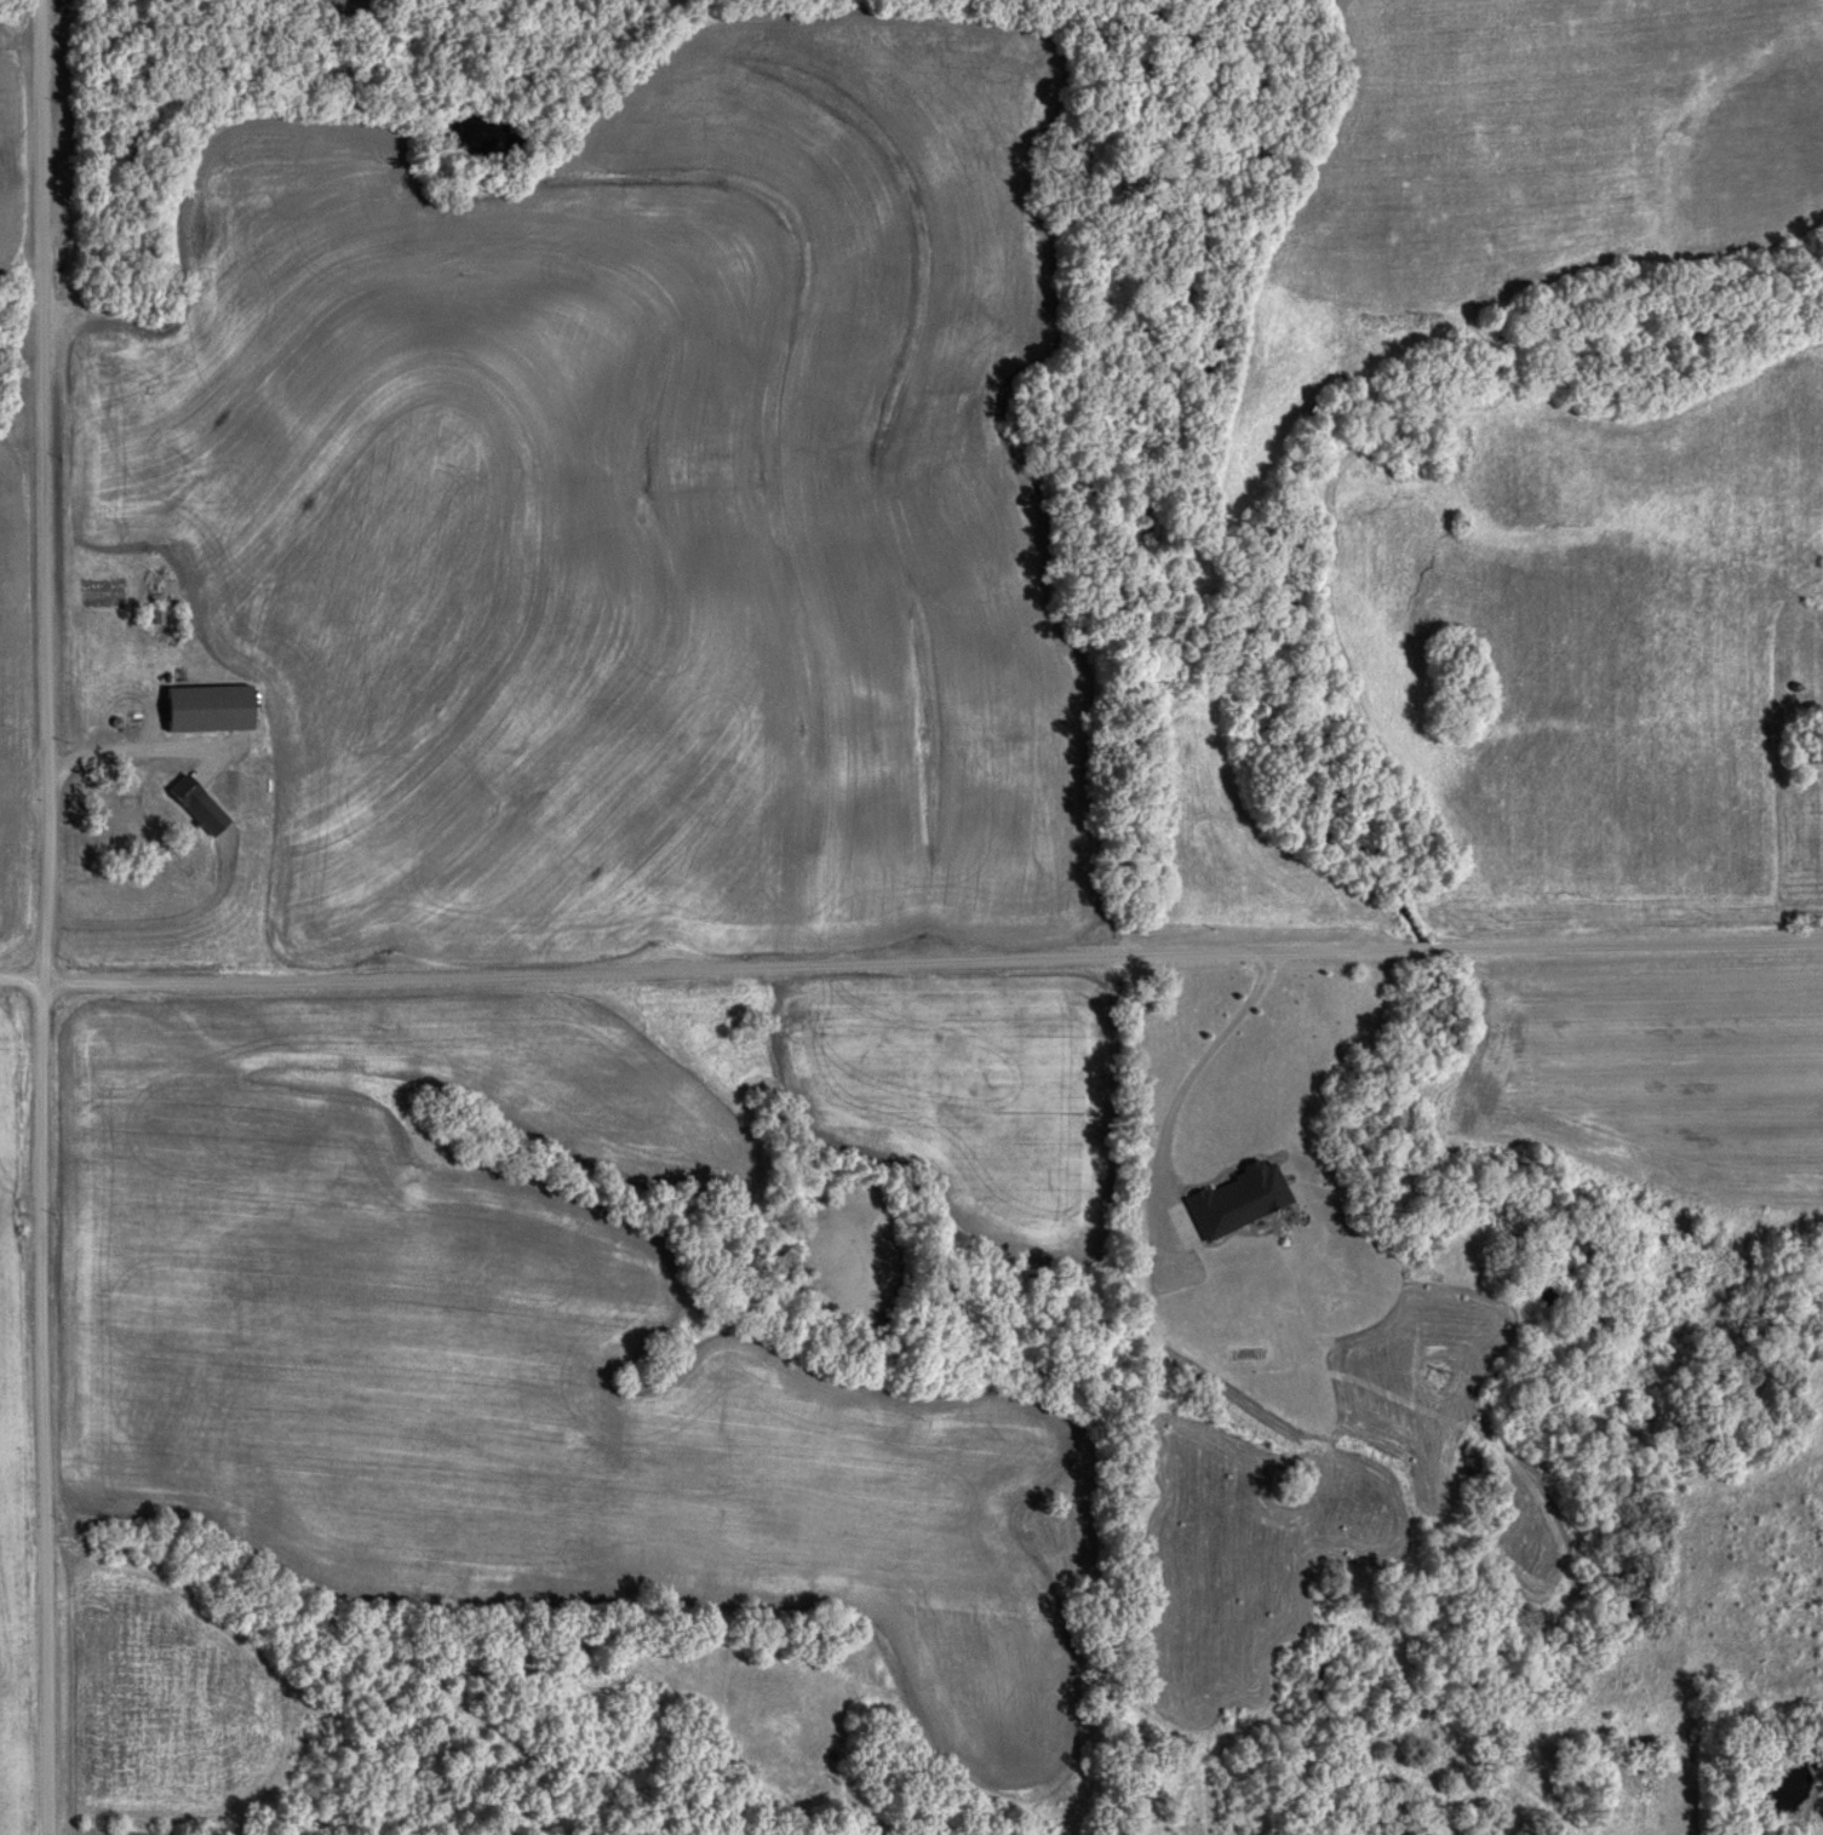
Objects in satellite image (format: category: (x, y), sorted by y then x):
building: (203, 706)
building: (194, 803)
road: (51, 917)
road: (911, 956)

